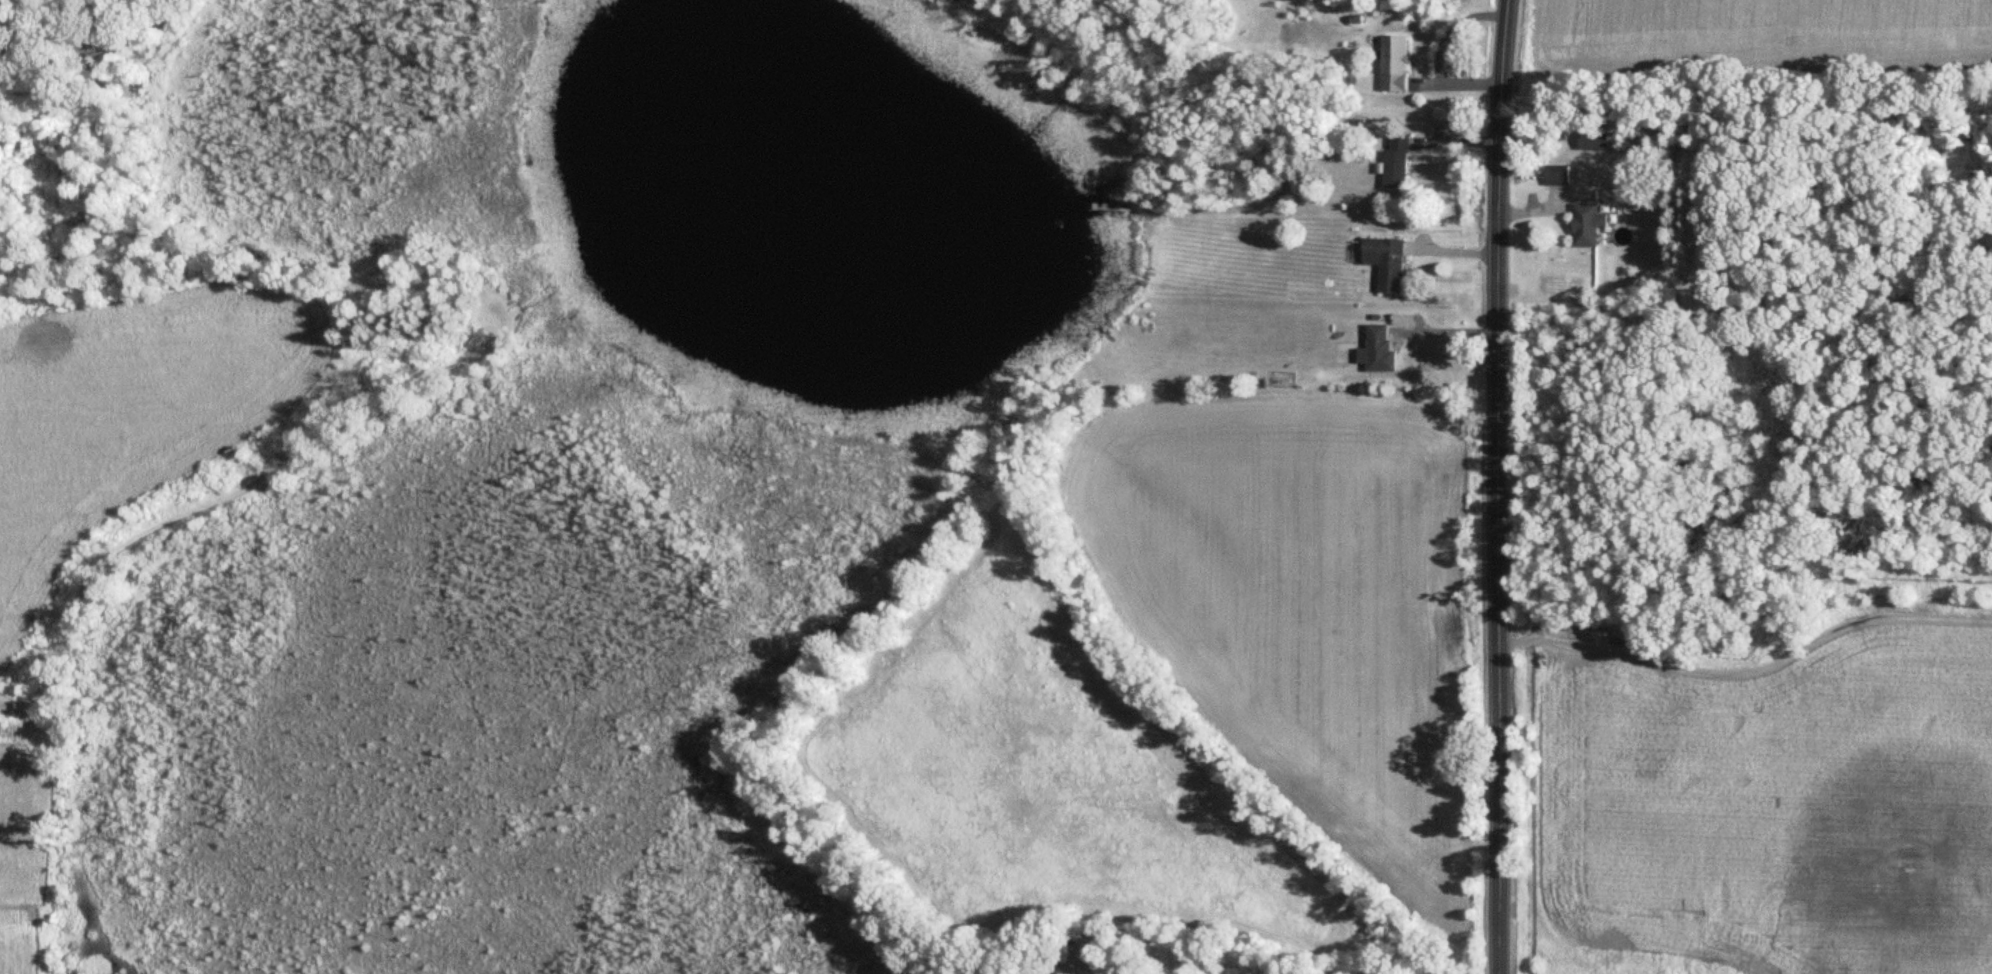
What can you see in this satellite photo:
building: (1395, 64)
building: (1596, 142)
building: (1397, 163)
building: (1557, 176)
building: (1587, 226)
building: (1386, 264)
building: (1378, 352)
road: (1496, 486)

